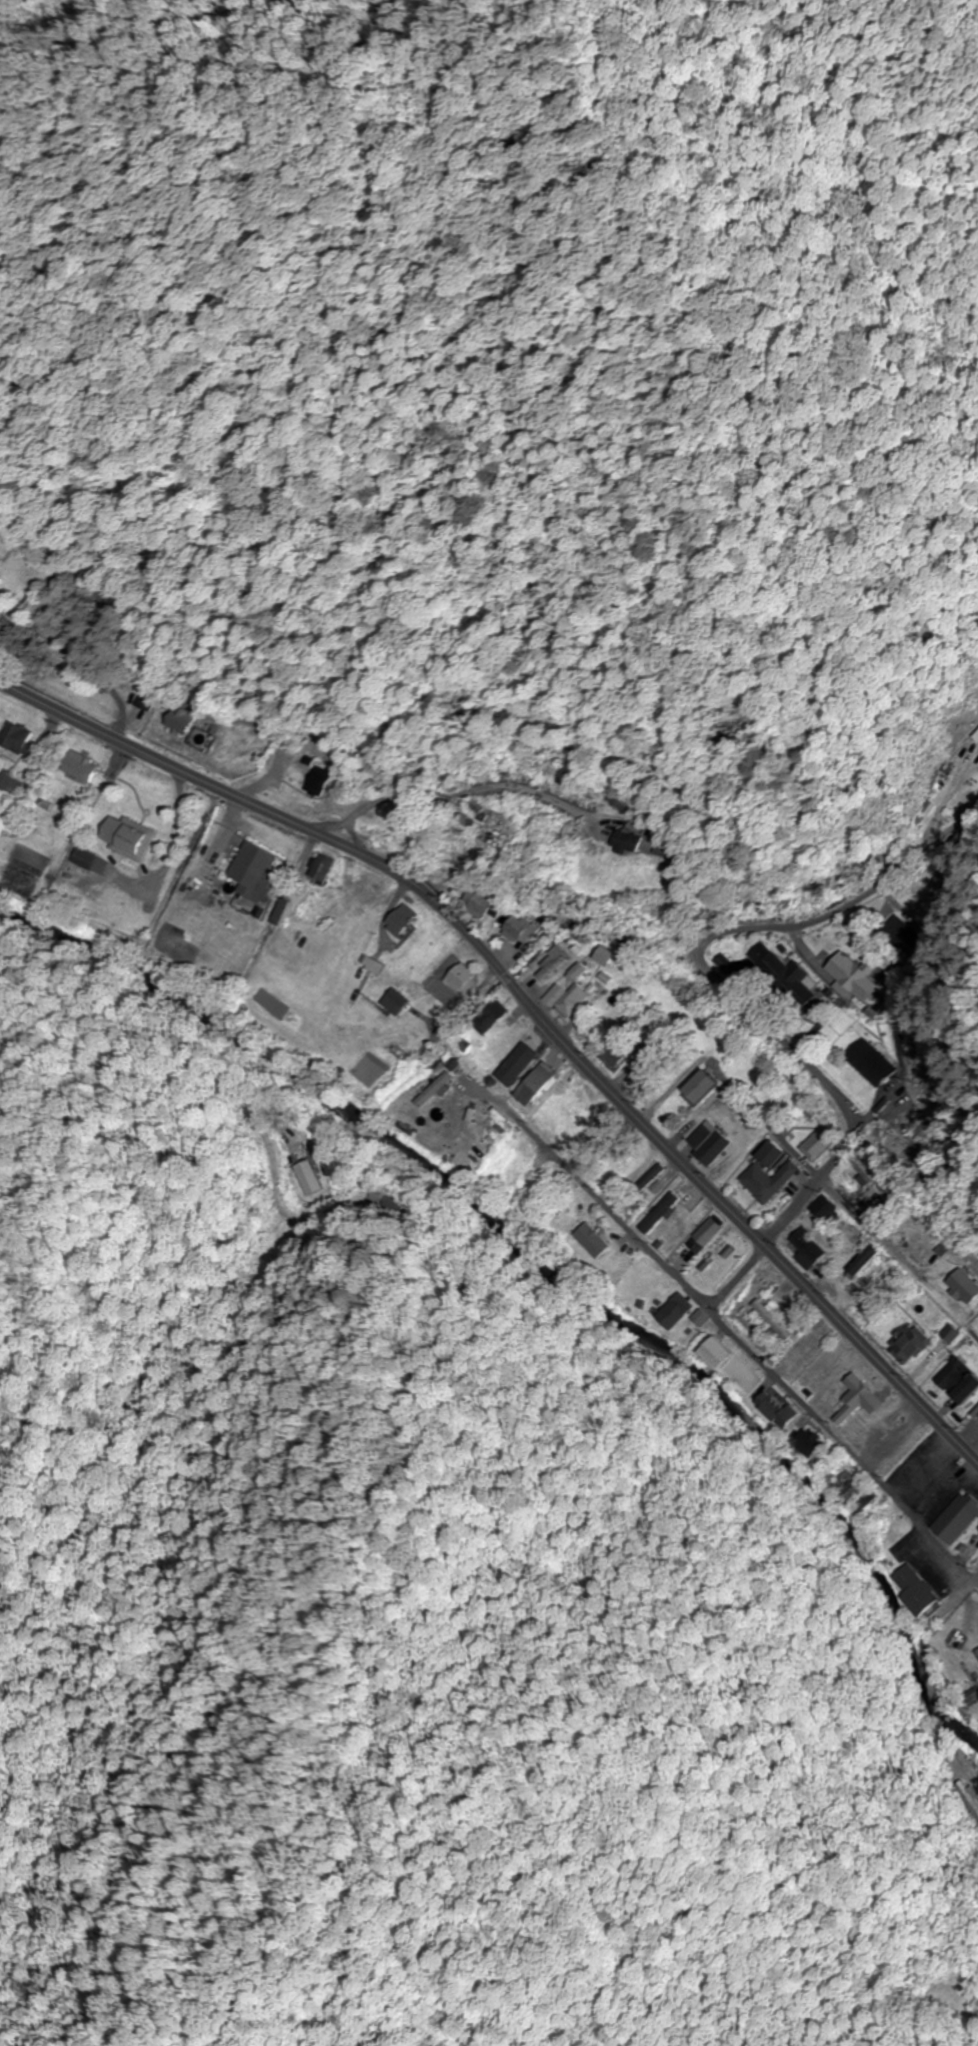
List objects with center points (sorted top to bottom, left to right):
road: (64, 651)
building: (148, 696)
building: (184, 719)
building: (975, 735)
building: (19, 738)
building: (83, 767)
building: (320, 782)
building: (13, 785)
road: (483, 787)
building: (407, 822)
building: (501, 832)
building: (133, 838)
building: (630, 842)
building: (94, 862)
building: (325, 867)
building: (258, 870)
building: (935, 879)
building: (479, 903)
building: (284, 912)
road: (483, 919)
building: (405, 921)
building: (522, 927)
road: (736, 930)
building: (897, 931)
building: (610, 956)
building: (553, 962)
building: (375, 963)
building: (783, 969)
building: (580, 971)
building: (858, 977)
building: (465, 978)
building: (601, 988)
building: (571, 998)
building: (399, 1001)
road: (533, 1009)
building: (494, 1016)
building: (621, 1040)
building: (873, 1062)
building: (521, 1063)
building: (541, 1083)
building: (434, 1084)
building: (710, 1085)
road: (877, 1101)
building: (714, 1141)
building: (820, 1145)
building: (779, 1153)
building: (307, 1175)
building: (522, 1176)
building: (772, 1180)
road: (844, 1189)
building: (832, 1210)
road: (786, 1217)
building: (709, 1234)
building: (594, 1240)
building: (812, 1249)
building: (927, 1250)
building: (873, 1258)
building: (967, 1286)
building: (677, 1311)
building: (701, 1316)
building: (776, 1320)
road: (720, 1323)
building: (955, 1333)
building: (913, 1344)
building: (720, 1353)
building: (825, 1366)
building: (962, 1380)
building: (861, 1399)
building: (779, 1410)
building: (810, 1443)
building: (847, 1487)
building: (960, 1518)
building: (919, 1590)
road: (941, 1612)
road: (932, 1727)

